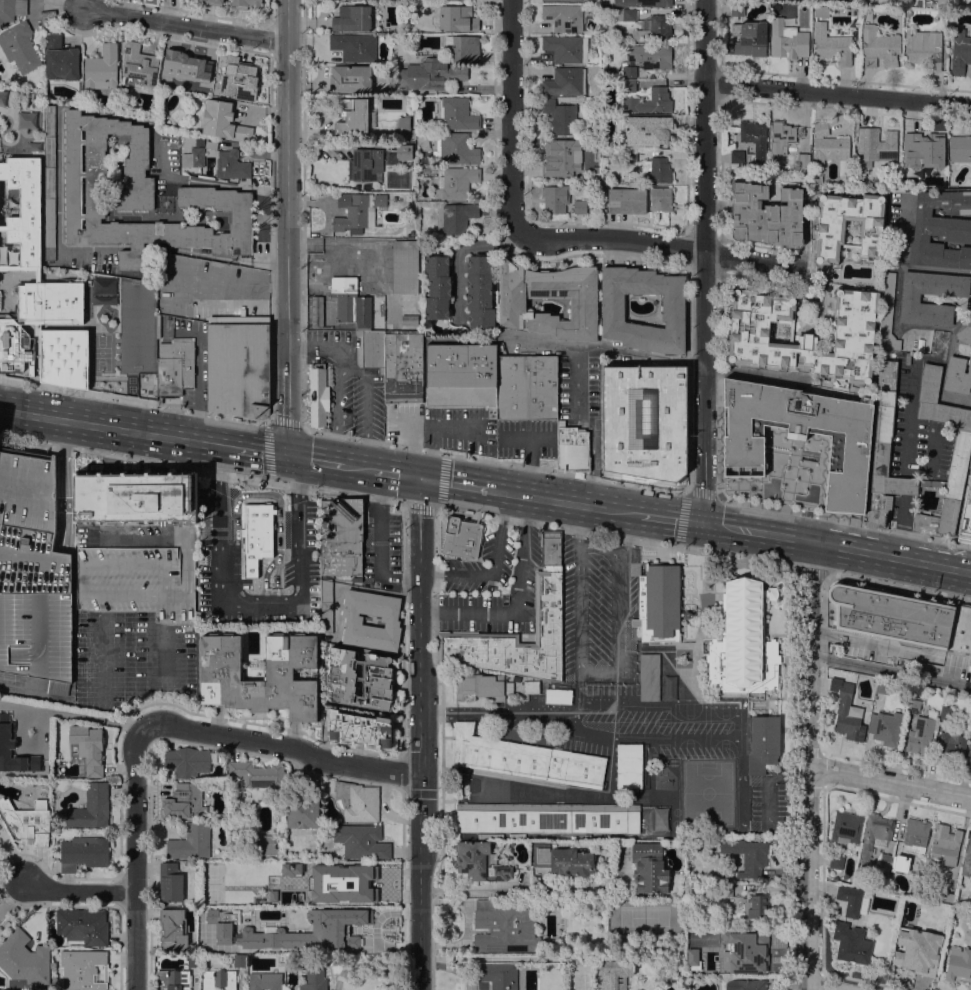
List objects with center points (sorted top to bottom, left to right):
building: (197, 0)
building: (562, 0)
building: (463, 1)
building: (214, 2)
building: (943, 2)
building: (643, 3)
building: (246, 4)
building: (11, 9)
building: (736, 10)
building: (821, 11)
building: (619, 14)
building: (564, 17)
building: (353, 18)
building: (458, 18)
building: (805, 20)
road: (184, 24)
building: (654, 29)
building: (750, 38)
building: (787, 40)
building: (832, 44)
building: (20, 46)
building: (354, 46)
building: (463, 47)
building: (879, 47)
building: (566, 48)
building: (923, 48)
building: (960, 54)
building: (651, 56)
building: (60, 58)
building: (140, 65)
building: (185, 65)
building: (102, 68)
building: (629, 71)
building: (430, 74)
building: (238, 78)
building: (350, 78)
building: (565, 81)
building: (629, 85)
road: (837, 92)
building: (46, 97)
building: (649, 101)
road: (97, 111)
building: (417, 113)
building: (458, 113)
road: (511, 115)
building: (561, 115)
building: (355, 117)
building: (223, 121)
building: (404, 122)
building: (647, 130)
building: (754, 134)
building: (781, 137)
building: (407, 145)
building: (828, 145)
building: (878, 146)
building: (960, 148)
building: (455, 149)
building: (925, 152)
building: (407, 154)
building: (630, 155)
building: (737, 156)
building: (563, 157)
building: (193, 158)
building: (804, 161)
building: (231, 165)
building: (365, 166)
building: (734, 166)
building: (658, 169)
building: (595, 172)
building: (50, 182)
building: (456, 182)
building: (139, 196)
building: (555, 198)
building: (660, 198)
building: (380, 199)
building: (627, 200)
building: (580, 206)
building: (354, 213)
building: (767, 215)
building: (456, 217)
building: (389, 226)
road: (287, 227)
building: (829, 228)
building: (941, 230)
road: (656, 244)
road: (459, 254)
road: (704, 261)
building: (405, 267)
building: (27, 270)
road: (231, 280)
building: (821, 282)
building: (438, 287)
building: (480, 291)
building: (910, 299)
building: (349, 302)
building: (583, 304)
road: (270, 305)
building: (673, 307)
building: (316, 310)
building: (888, 314)
building: (410, 319)
building: (791, 327)
building: (965, 333)
road: (303, 334)
building: (805, 334)
road: (316, 349)
building: (394, 363)
building: (238, 364)
building: (173, 366)
road: (348, 367)
road: (689, 370)
road: (577, 371)
building: (459, 373)
building: (958, 374)
road: (719, 376)
building: (525, 386)
road: (196, 388)
building: (317, 394)
road: (133, 400)
building: (643, 420)
road: (908, 421)
road: (116, 427)
road: (430, 431)
road: (267, 433)
building: (802, 433)
building: (571, 445)
road: (258, 450)
building: (884, 451)
traffic signals: (284, 455)
road: (532, 455)
building: (959, 459)
road: (313, 460)
road: (494, 461)
road: (357, 467)
road: (201, 469)
road: (397, 474)
traffic signals: (423, 479)
building: (931, 482)
road: (455, 483)
road: (904, 485)
building: (136, 497)
road: (438, 498)
road: (564, 502)
road: (684, 502)
road: (671, 517)
building: (966, 518)
road: (844, 520)
traffic signals: (701, 522)
road: (901, 525)
building: (258, 528)
building: (341, 536)
road: (614, 536)
building: (461, 537)
road: (378, 542)
road: (836, 545)
road: (600, 546)
building: (551, 547)
road: (493, 568)
road: (809, 570)
building: (33, 573)
building: (134, 583)
road: (899, 587)
road: (517, 598)
road: (255, 602)
building: (659, 602)
building: (326, 606)
road: (822, 615)
building: (889, 615)
building: (390, 620)
building: (961, 628)
building: (515, 639)
building: (743, 641)
building: (970, 663)
road: (597, 670)
road: (889, 671)
building: (290, 676)
building: (650, 677)
building: (360, 679)
building: (482, 686)
building: (882, 686)
building: (533, 687)
building: (558, 696)
road: (441, 697)
road: (791, 701)
building: (914, 706)
road: (515, 712)
building: (848, 713)
building: (946, 713)
road: (81, 716)
building: (887, 728)
building: (24, 729)
building: (359, 729)
road: (420, 734)
building: (921, 735)
building: (762, 742)
road: (282, 745)
building: (88, 746)
building: (951, 746)
building: (5, 747)
road: (378, 752)
building: (969, 757)
building: (527, 759)
building: (188, 760)
building: (47, 765)
building: (629, 765)
road: (807, 765)
building: (257, 774)
road: (889, 778)
building: (358, 801)
building: (186, 802)
building: (91, 806)
building: (304, 811)
building: (548, 818)
building: (28, 821)
building: (848, 826)
building: (874, 834)
building: (915, 835)
building: (362, 841)
building: (191, 842)
building: (265, 844)
building: (946, 844)
building: (84, 852)
building: (748, 855)
building: (284, 856)
road: (134, 858)
building: (967, 858)
building: (563, 860)
building: (836, 860)
building: (886, 860)
building: (480, 861)
building: (898, 863)
building: (649, 867)
building: (349, 876)
building: (829, 876)
building: (170, 882)
road: (432, 886)
road: (535, 887)
building: (721, 889)
road: (80, 891)
building: (290, 896)
building: (947, 896)
building: (853, 900)
building: (755, 905)
building: (83, 925)
building: (219, 927)
building: (505, 927)
building: (334, 928)
building: (173, 929)
building: (969, 931)
building: (255, 943)
building: (852, 943)
building: (918, 950)
building: (749, 952)
building: (24, 958)
building: (691, 958)
building: (194, 960)
building: (240, 960)
building: (958, 963)
road: (452, 966)
building: (83, 969)
building: (614, 974)
building: (498, 975)
building: (314, 977)
building: (219, 979)
building: (173, 980)
building: (265, 981)
building: (746, 984)

